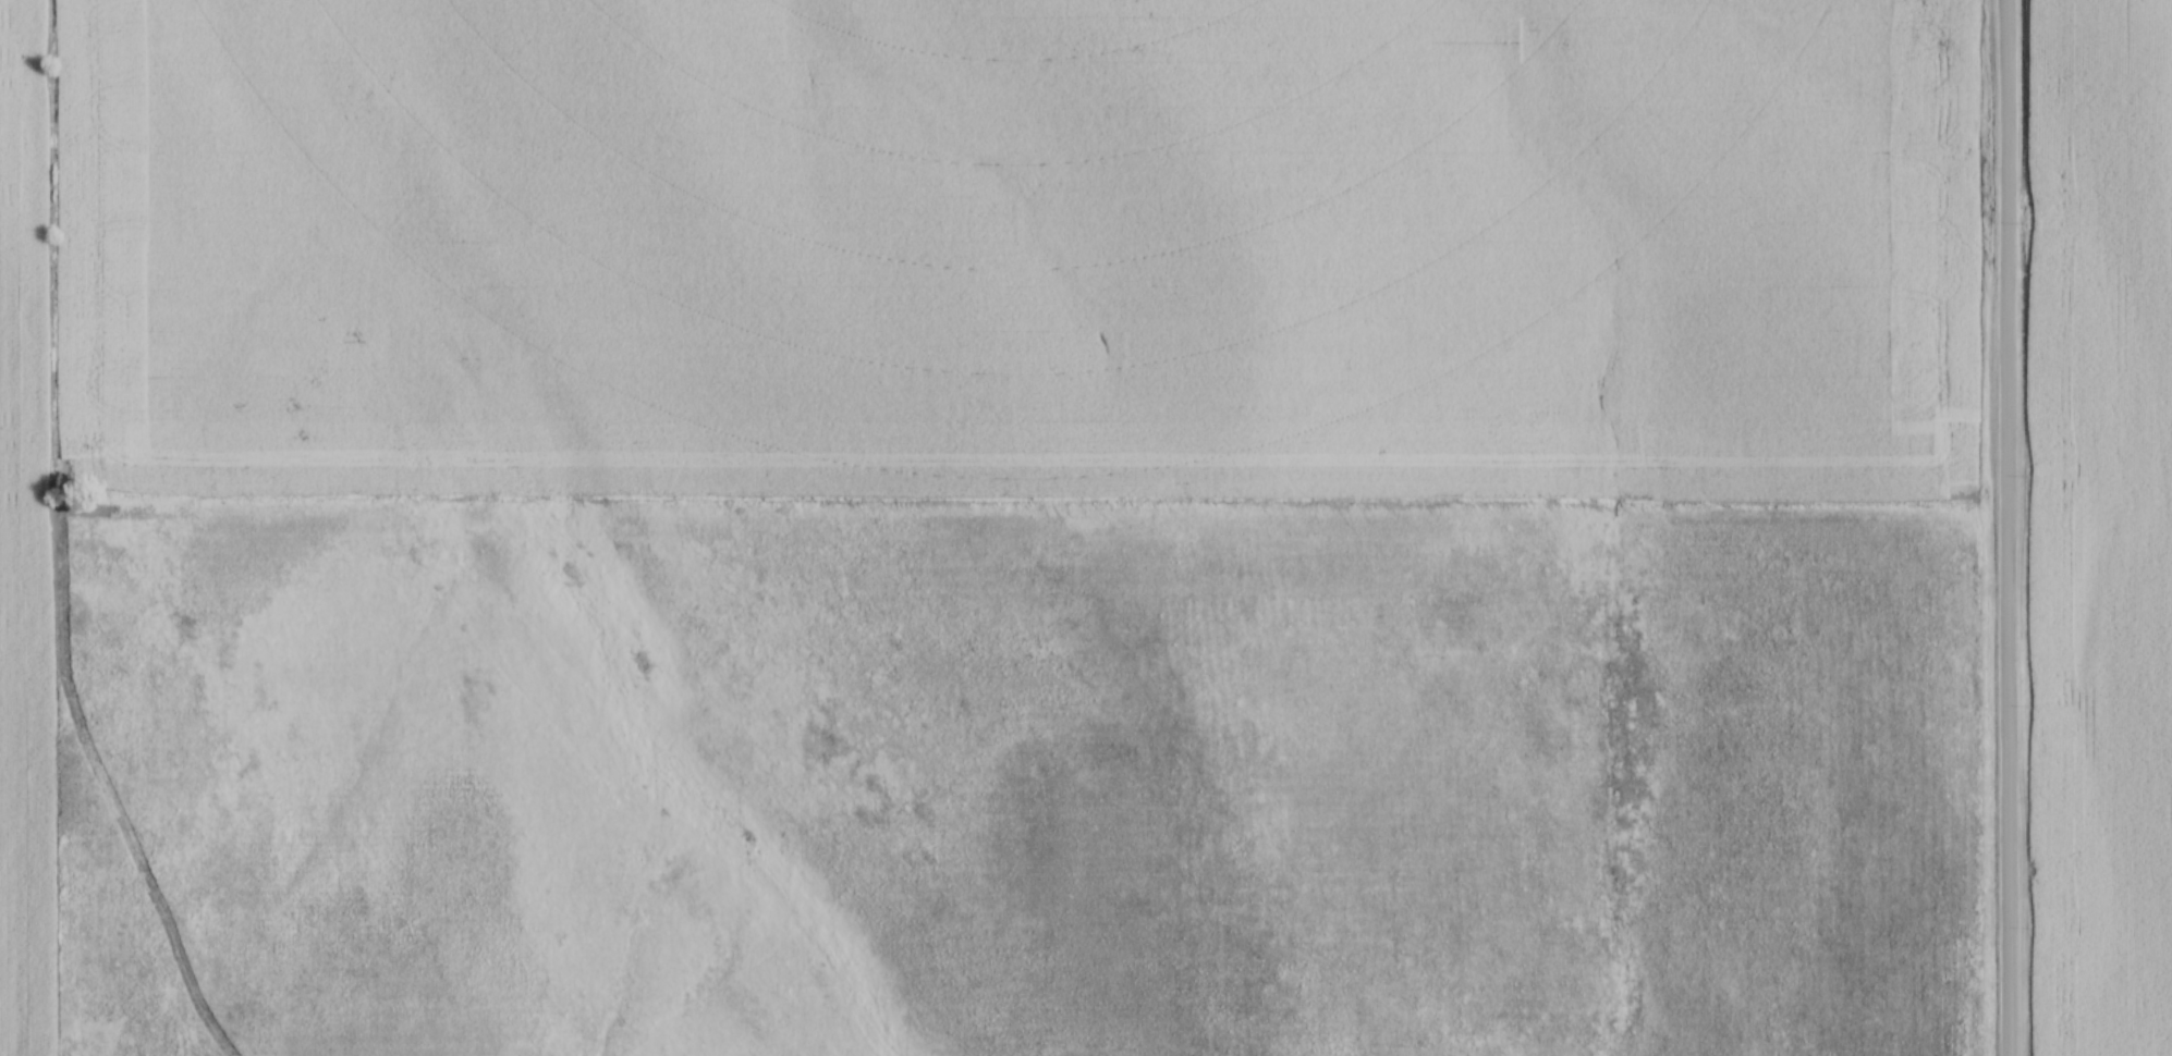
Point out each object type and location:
road: (2005, 527)

